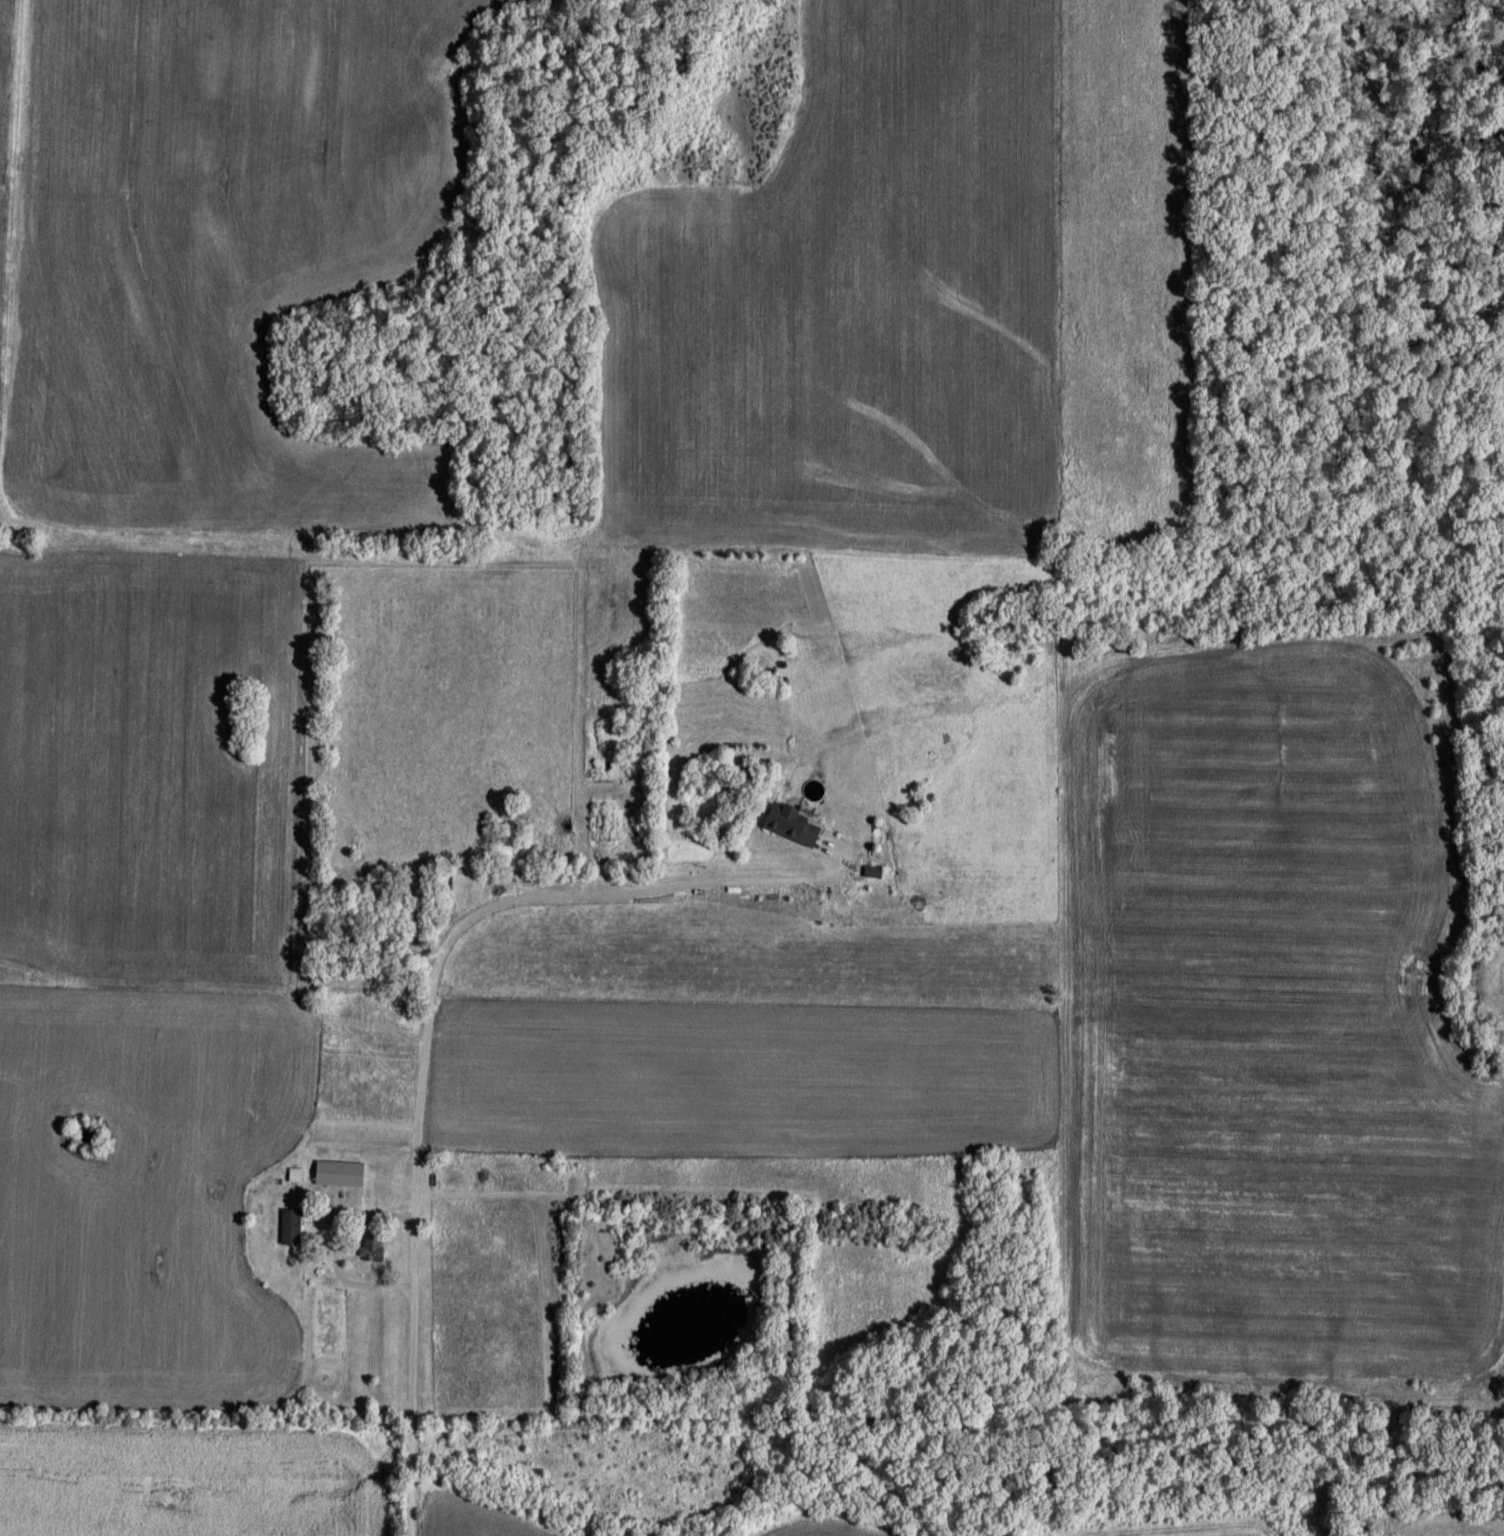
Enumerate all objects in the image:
building: (793, 827)
building: (874, 875)
road: (498, 904)
building: (342, 1176)
building: (292, 1228)
building: (373, 1251)
road: (340, 1281)
road: (414, 1392)

